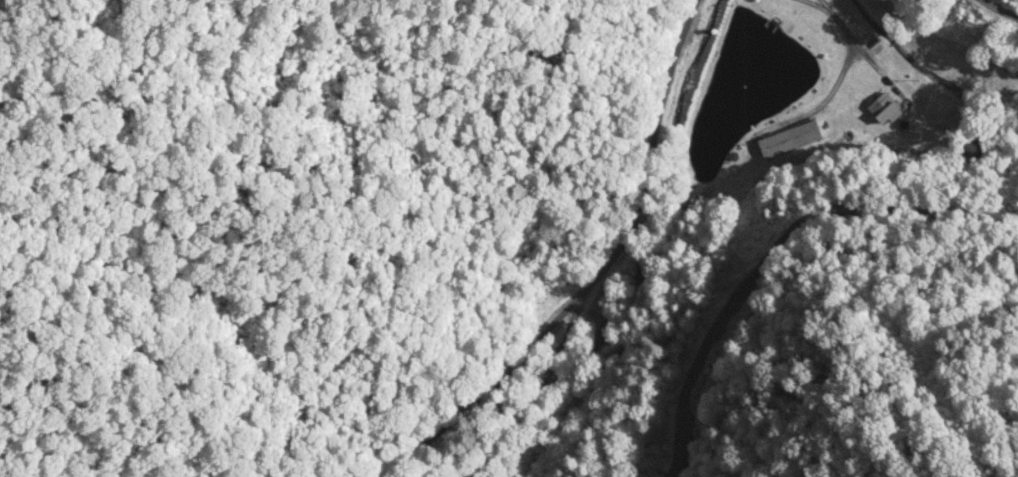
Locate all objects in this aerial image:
building: (885, 106)
building: (791, 138)

